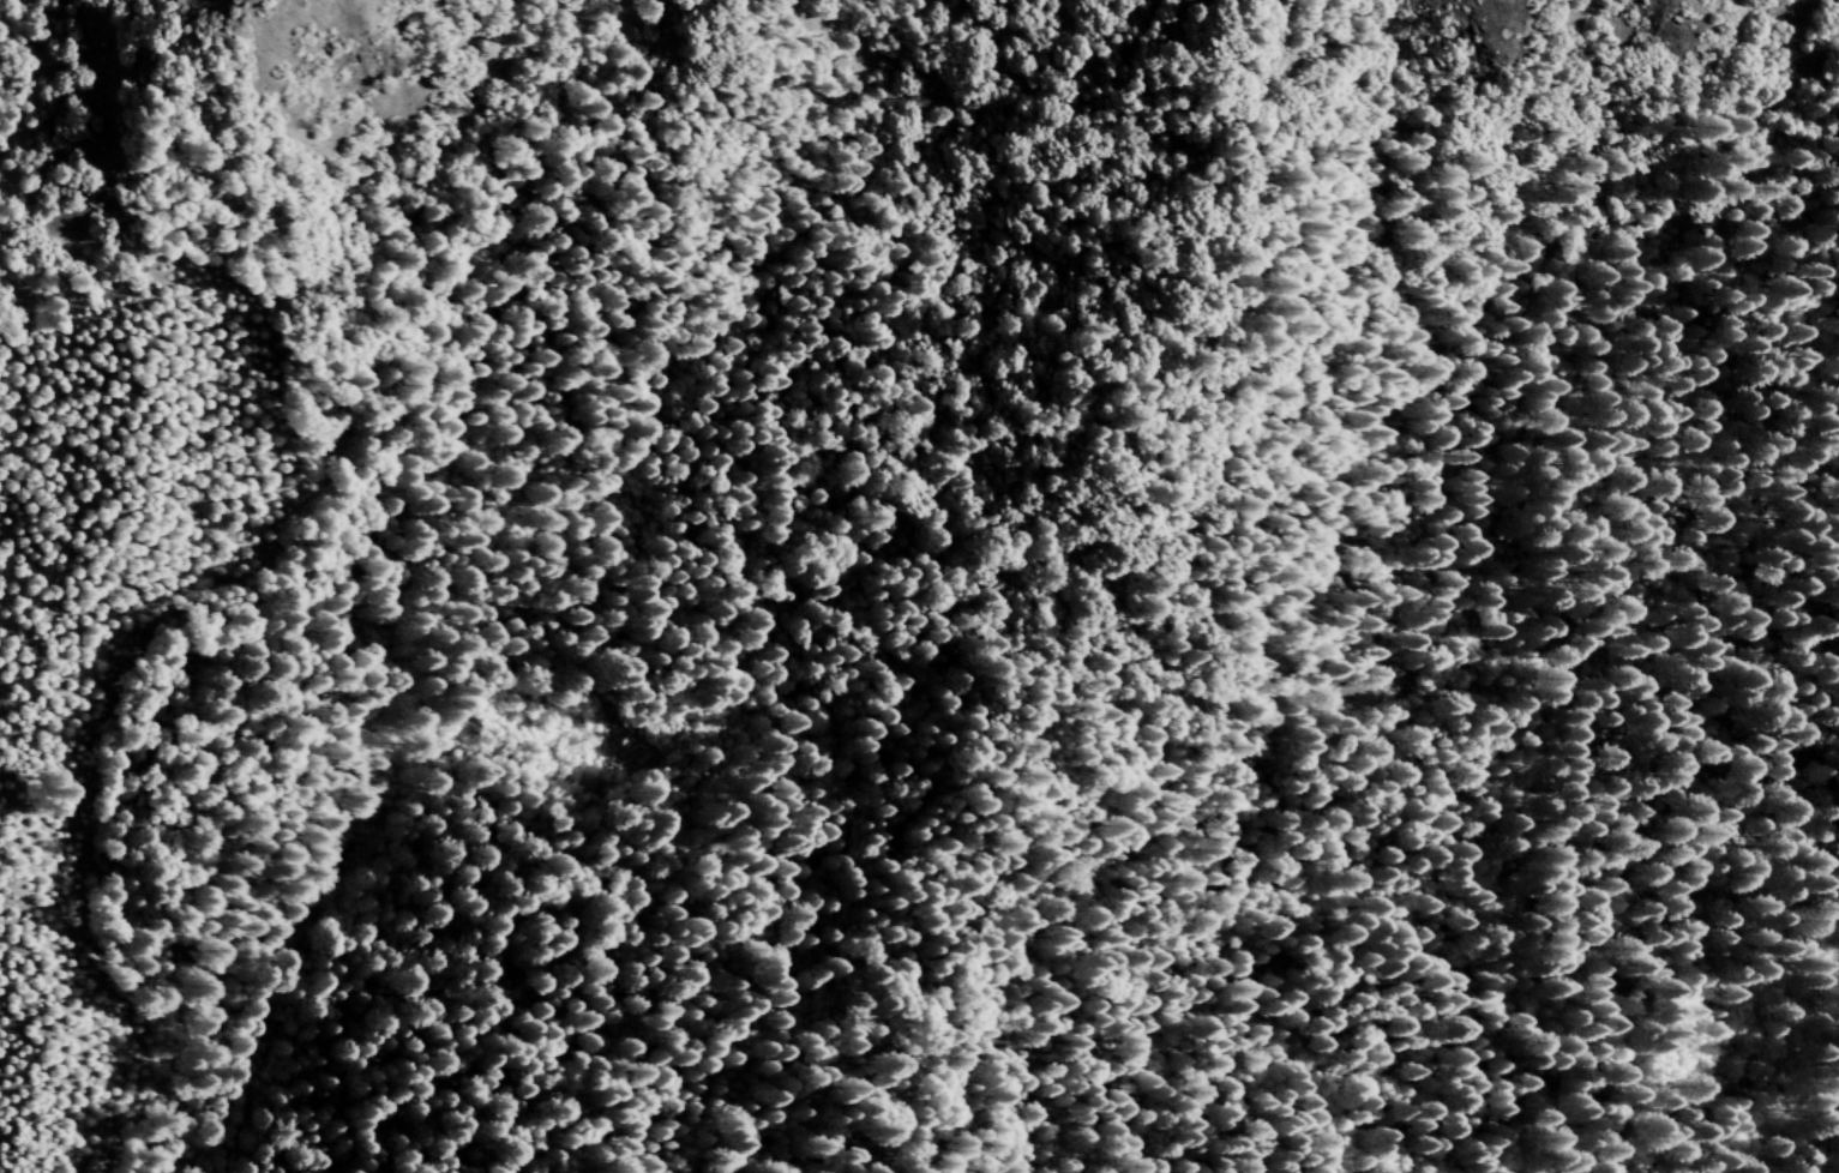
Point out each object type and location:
road: (1723, 586)

